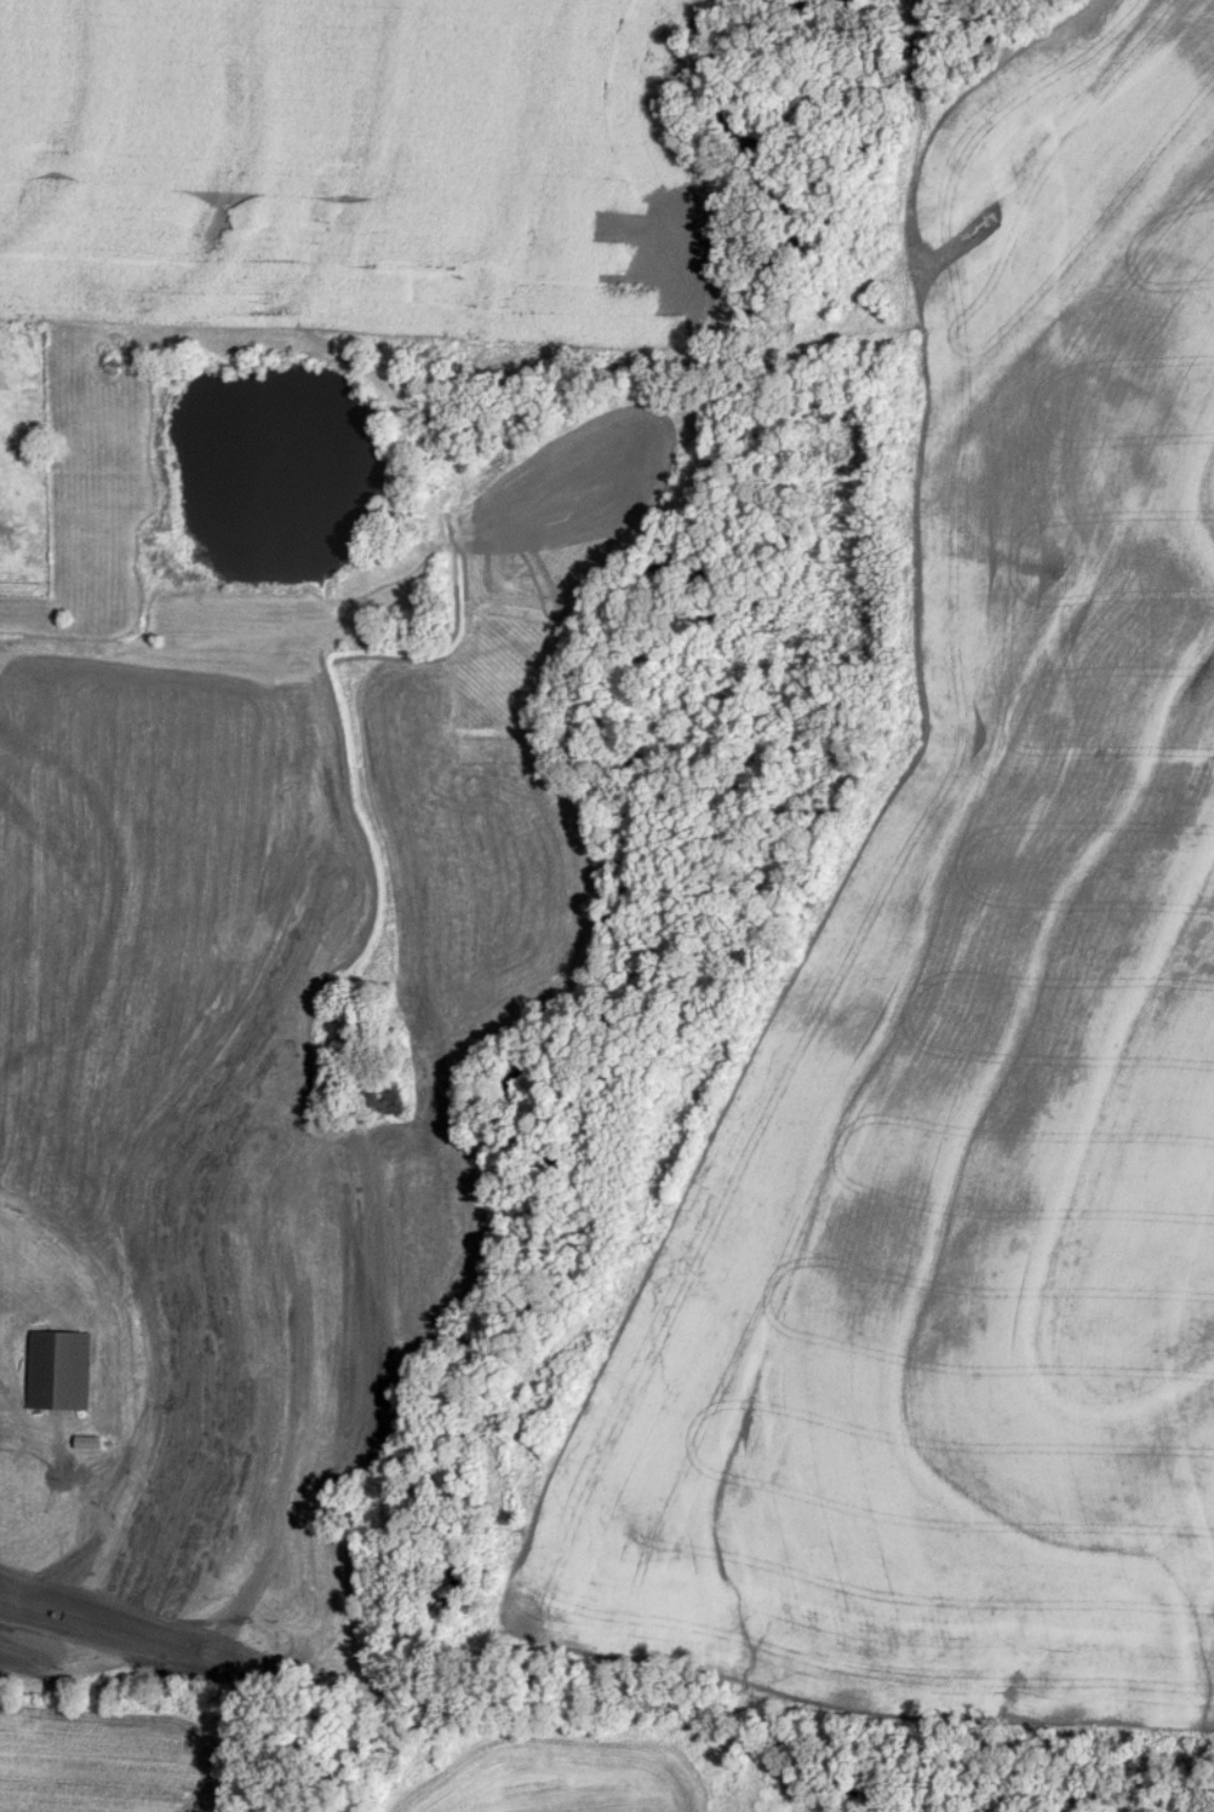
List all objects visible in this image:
road: (2, 1355)
building: (56, 1369)

